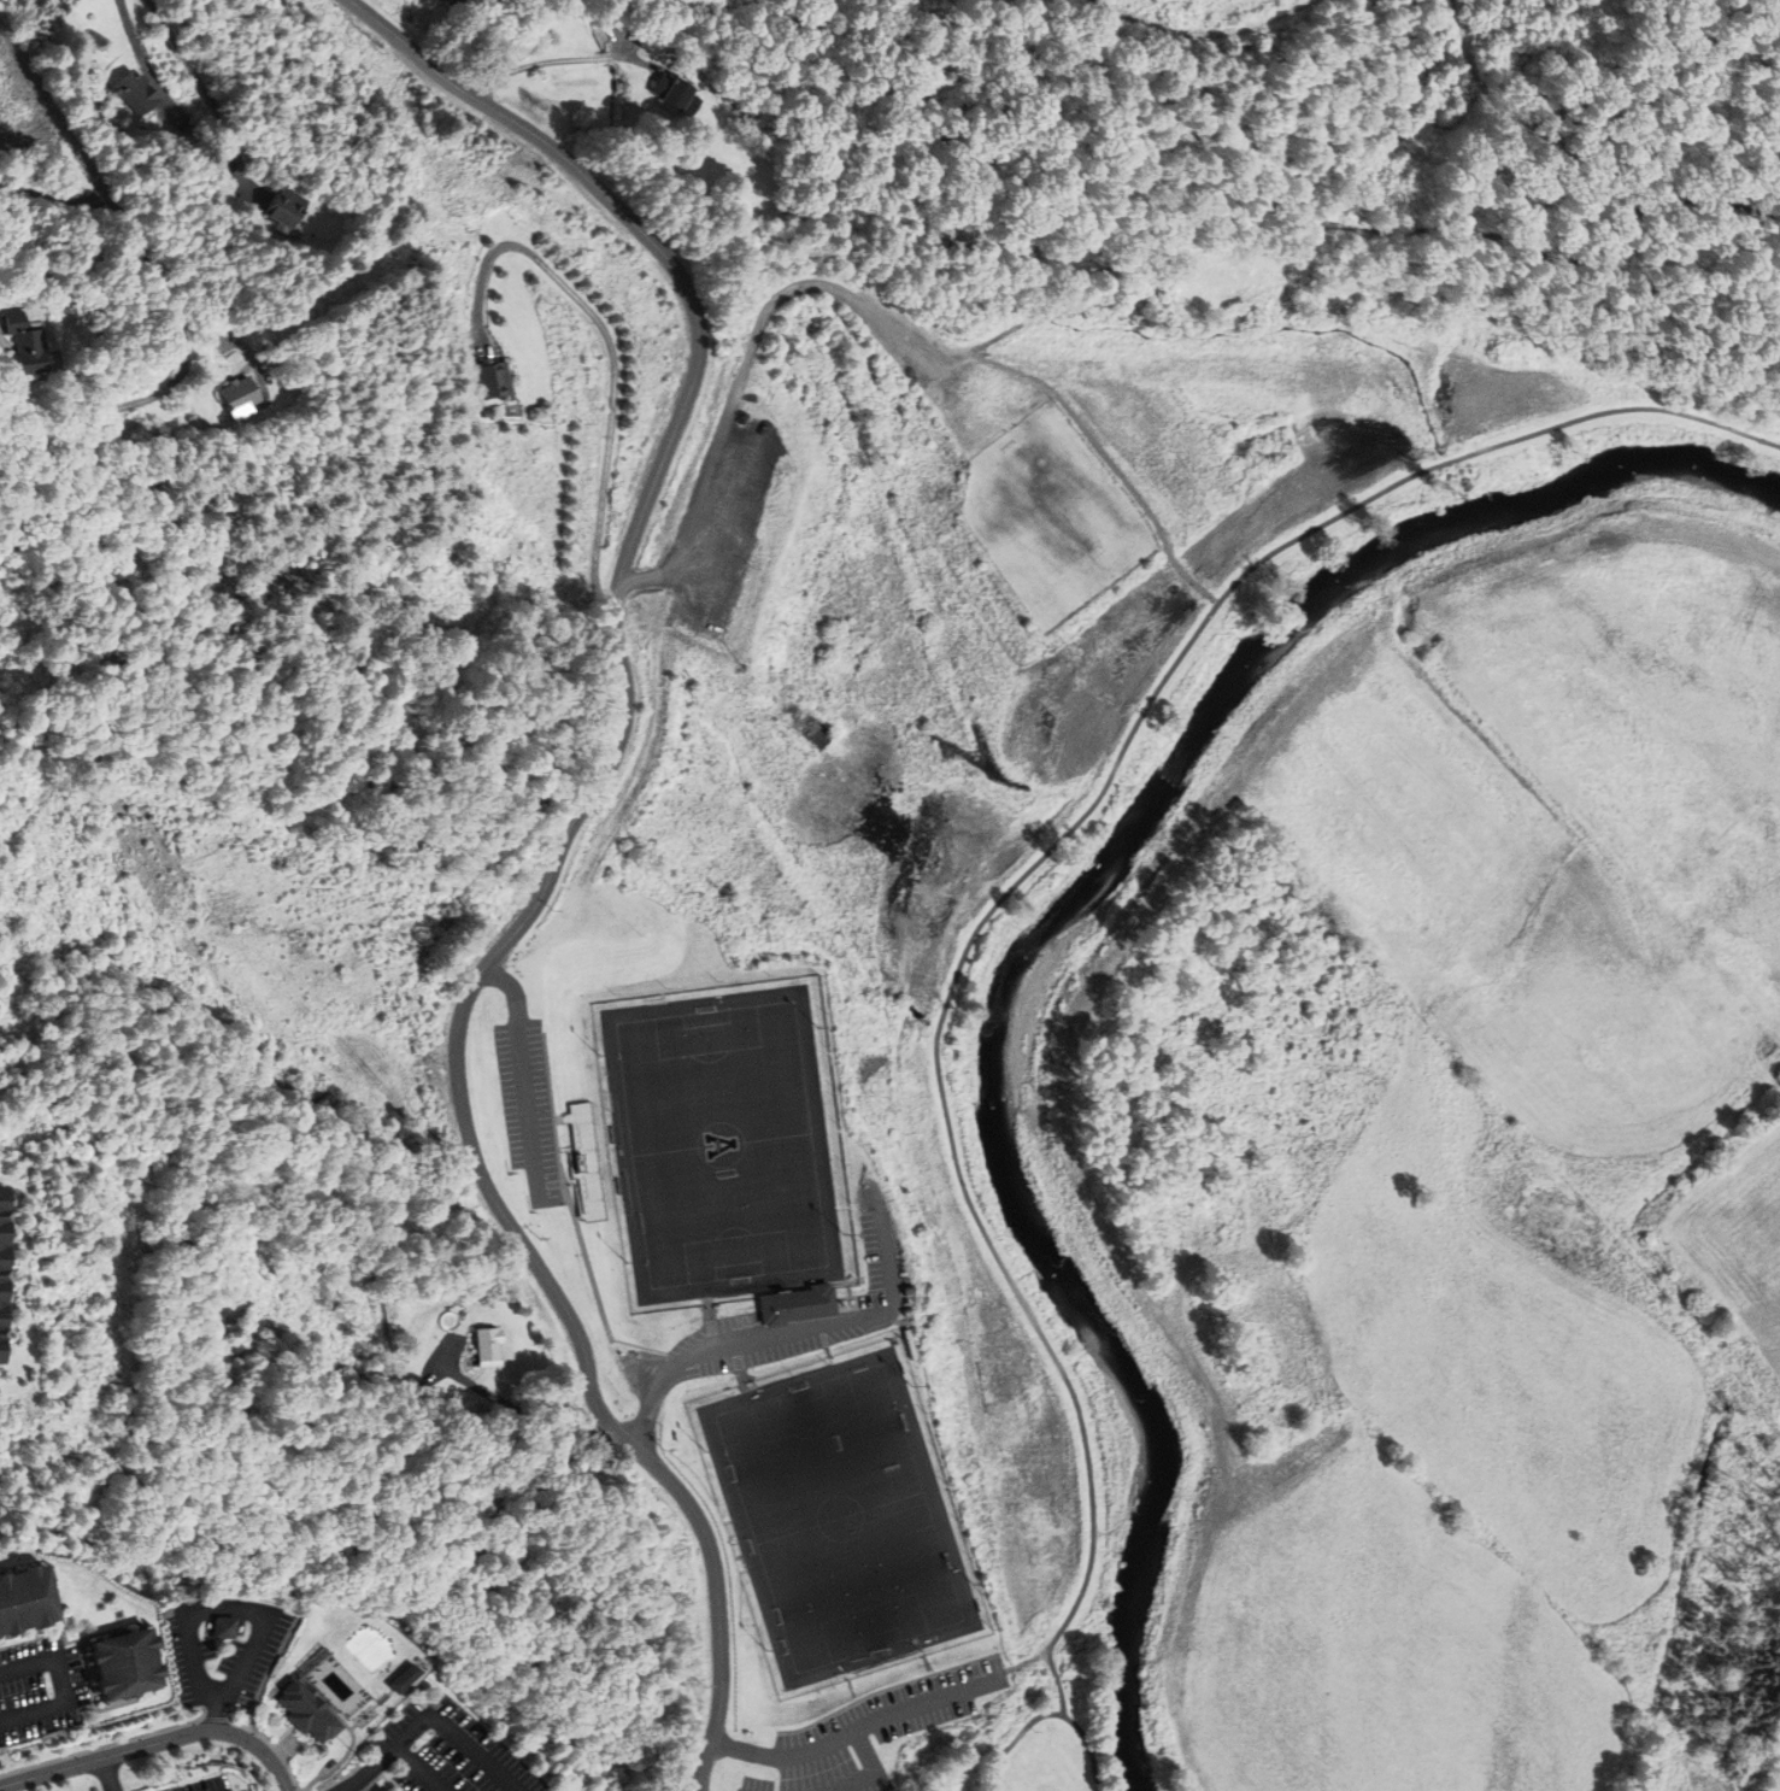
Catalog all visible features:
road: (1206, 36)
road: (1719, 39)
road: (182, 51)
road: (554, 59)
building: (135, 93)
building: (676, 94)
road: (1581, 152)
road: (53, 195)
building: (286, 206)
road: (1340, 227)
road: (152, 278)
road: (0, 328)
building: (25, 343)
road: (612, 354)
road: (741, 378)
building: (493, 380)
parking lot: (958, 383)
building: (236, 394)
building: (741, 418)
road: (1110, 457)
park: (1052, 517)
parking lot: (723, 524)
river: (1420, 534)
park: (1046, 745)
road: (617, 816)
road: (557, 861)
road: (1041, 862)
road: (525, 1069)
parking lot: (529, 1108)
park: (723, 1145)
building: (586, 1163)
road: (552, 1185)
road: (576, 1223)
building: (5, 1276)
river: (1063, 1276)
building: (795, 1304)
parking lot: (786, 1325)
road: (779, 1333)
building: (486, 1345)
park: (839, 1517)
building: (22, 1599)
road: (225, 1608)
road: (55, 1610)
building: (223, 1628)
road: (96, 1633)
road: (78, 1643)
parking lot: (225, 1648)
road: (199, 1658)
road: (248, 1661)
building: (119, 1663)
road: (1024, 1663)
building: (400, 1678)
road: (66, 1686)
parking lot: (41, 1689)
road: (113, 1707)
road: (236, 1709)
building: (310, 1711)
road: (221, 1714)
road: (1047, 1714)
road: (430, 1716)
road: (859, 1730)
parking lot: (883, 1732)
road: (287, 1737)
road: (122, 1743)
road: (158, 1744)
park: (1053, 1746)
parking lot: (447, 1752)
road: (348, 1757)
road: (873, 1769)
road: (375, 1772)
road: (113, 1774)
road: (382, 1779)
road: (396, 1780)
parking lot: (204, 1785)
parking lot: (241, 1790)

